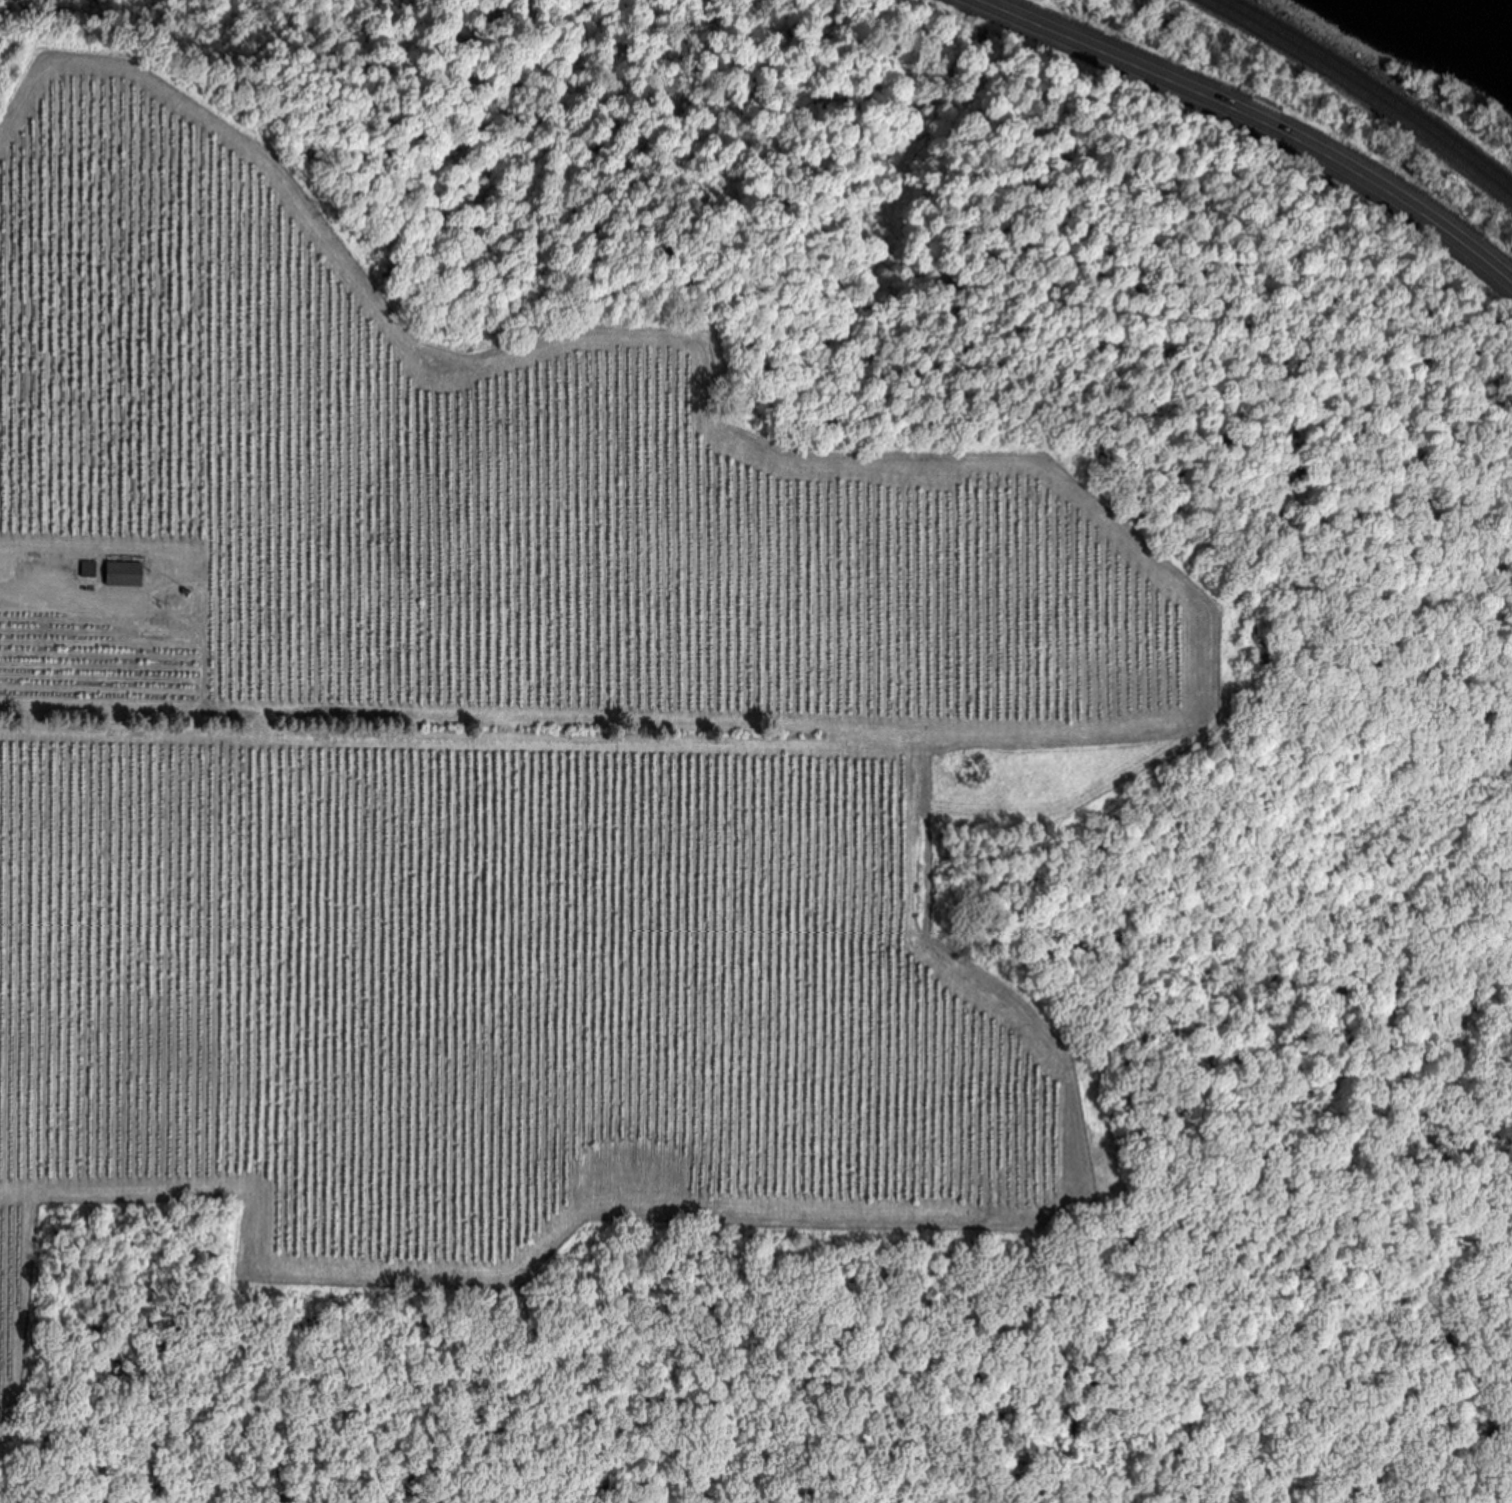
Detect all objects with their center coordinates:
railway: (1372, 89)
railway: (1362, 94)
road: (1254, 122)
building: (128, 574)
road: (139, 610)

